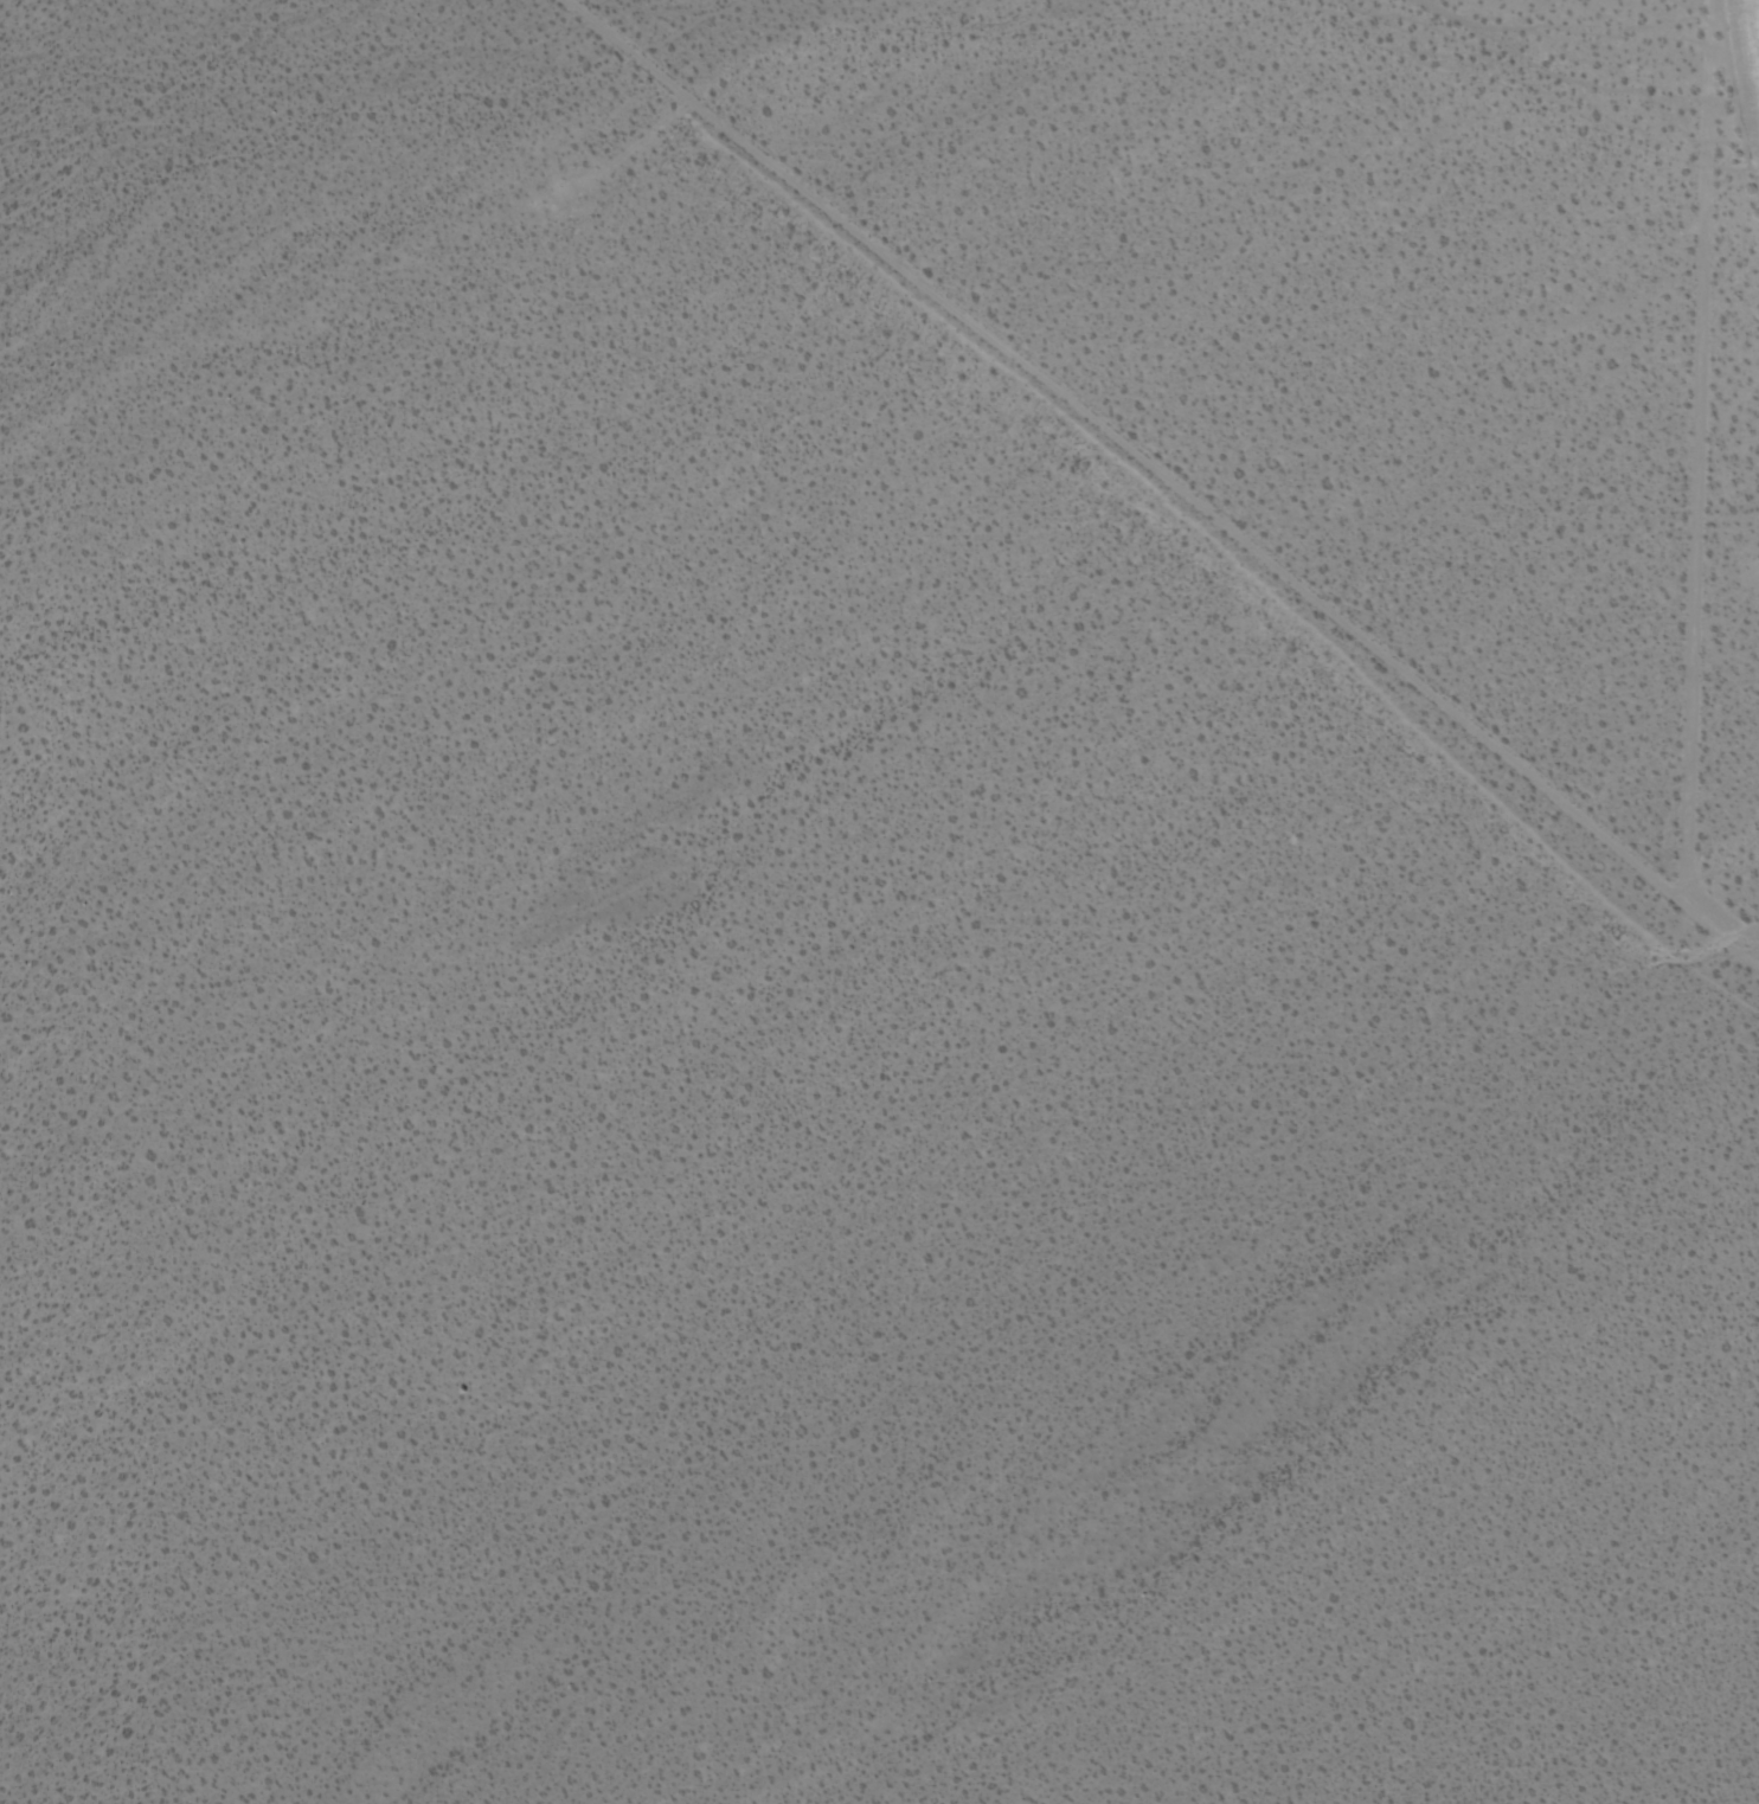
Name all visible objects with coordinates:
crop: (1755, 66)
road: (1703, 456)
road: (1135, 486)
road: (1720, 912)

